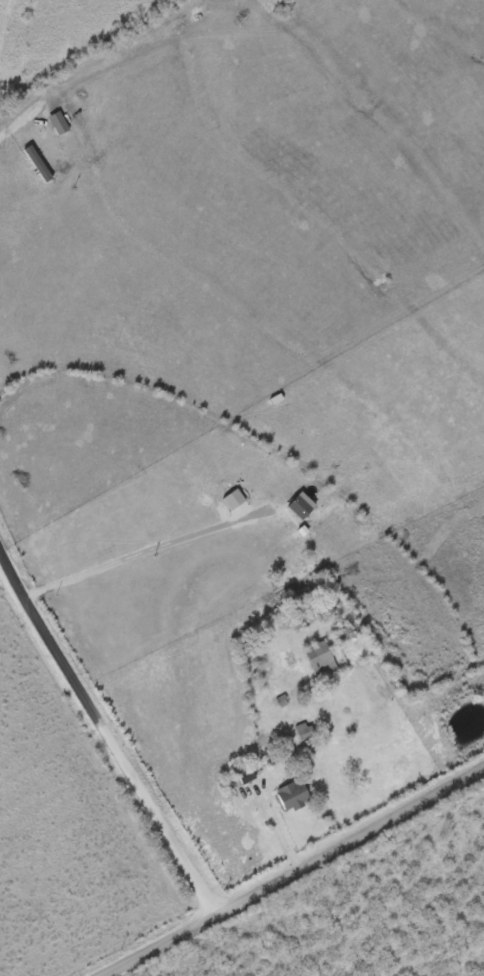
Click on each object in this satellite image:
building: (302, 507)
building: (321, 659)
building: (282, 702)
road: (109, 742)
building: (246, 776)
building: (293, 797)
road: (297, 874)

